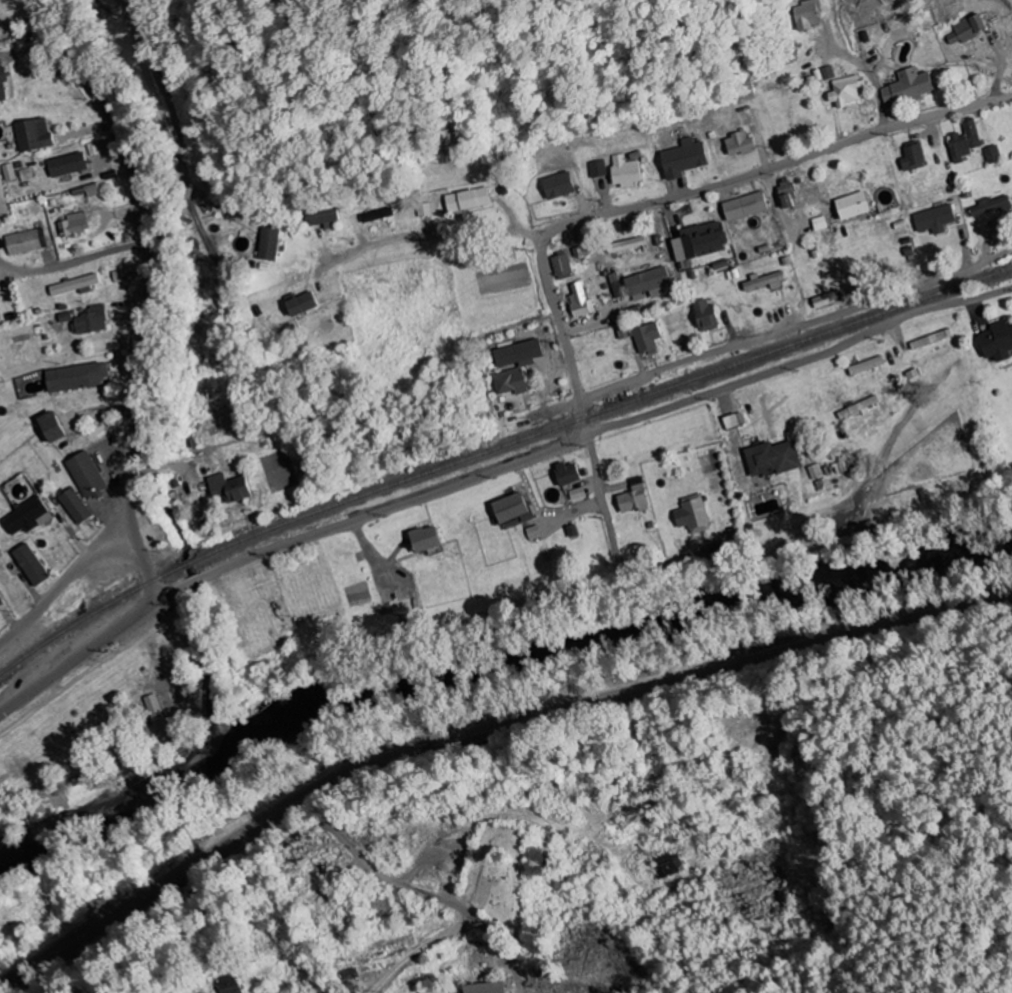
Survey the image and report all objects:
building: (807, 15)
road: (20, 19)
building: (967, 30)
building: (825, 74)
building: (2, 87)
building: (908, 89)
building: (847, 92)
road: (878, 95)
road: (166, 134)
building: (32, 136)
building: (965, 143)
building: (739, 145)
building: (992, 155)
building: (913, 158)
building: (684, 159)
building: (67, 166)
building: (596, 169)
building: (624, 172)
building: (8, 173)
building: (558, 187)
building: (1, 195)
road: (678, 196)
building: (788, 196)
building: (466, 201)
building: (745, 207)
building: (853, 207)
building: (991, 208)
building: (423, 210)
building: (376, 216)
building: (321, 217)
building: (935, 220)
building: (73, 226)
road: (445, 238)
building: (699, 242)
building: (22, 243)
building: (268, 243)
building: (561, 267)
building: (118, 276)
building: (764, 282)
road: (144, 285)
building: (646, 285)
building: (73, 286)
building: (826, 300)
building: (579, 302)
building: (300, 305)
building: (0, 316)
building: (705, 316)
building: (64, 318)
building: (89, 321)
road: (796, 327)
building: (645, 339)
building: (998, 342)
building: (517, 353)
road: (799, 362)
building: (867, 366)
building: (76, 377)
building: (509, 382)
building: (858, 409)
building: (733, 421)
building: (51, 426)
railway: (495, 445)
building: (774, 458)
building: (566, 473)
building: (85, 474)
building: (228, 487)
building: (575, 493)
building: (633, 497)
building: (74, 506)
road: (147, 507)
building: (510, 508)
building: (692, 514)
road: (366, 515)
building: (27, 517)
building: (423, 538)
road: (611, 538)
building: (31, 565)
road: (66, 581)
road: (165, 603)
road: (186, 656)
road: (76, 657)
river: (487, 667)
building: (153, 707)
road: (481, 729)
road: (272, 850)
building: (666, 865)
road: (459, 915)
building: (347, 974)
building: (225, 984)
building: (483, 988)

